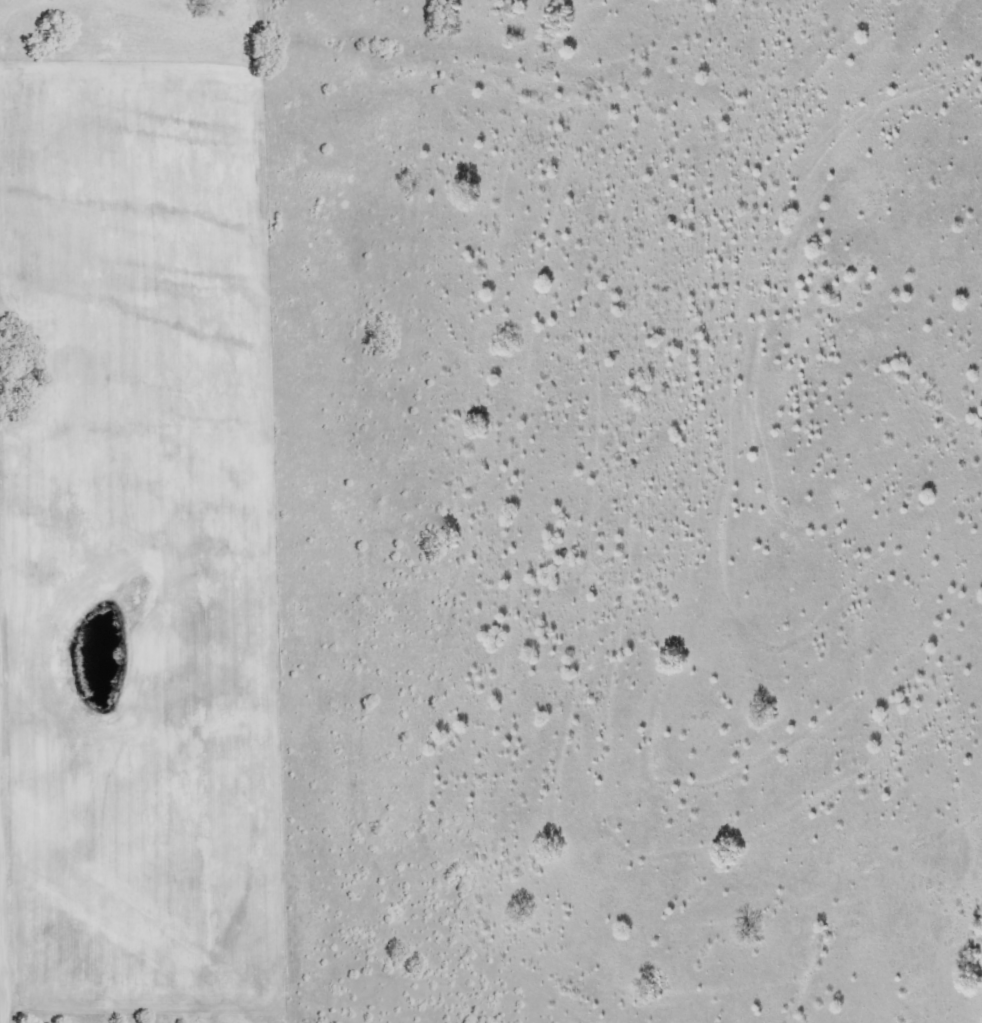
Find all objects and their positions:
road: (0, 1008)

